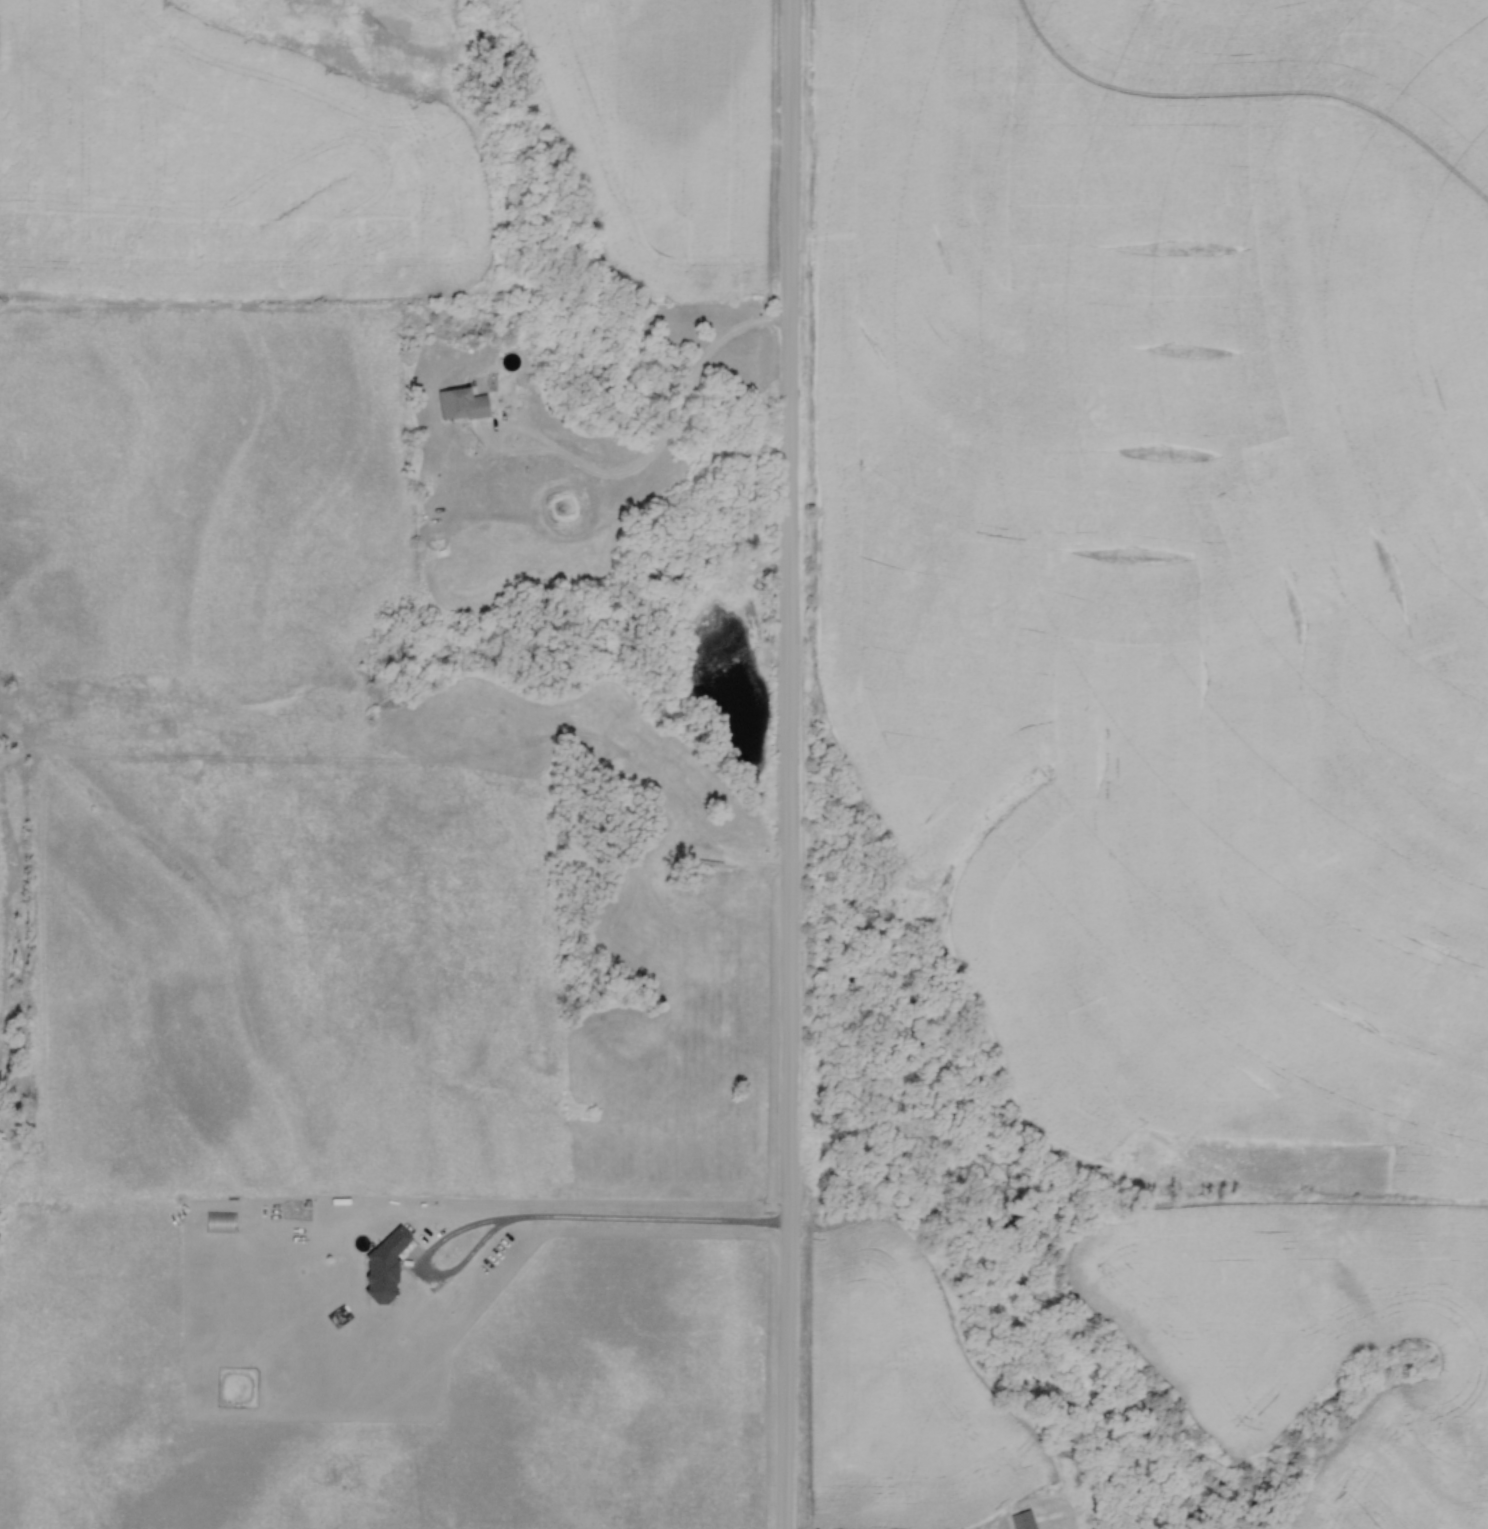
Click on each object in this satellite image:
building: (460, 405)
road: (677, 414)
road: (497, 428)
road: (790, 764)
road: (590, 1220)
building: (218, 1223)
building: (383, 1266)
building: (1022, 1520)

